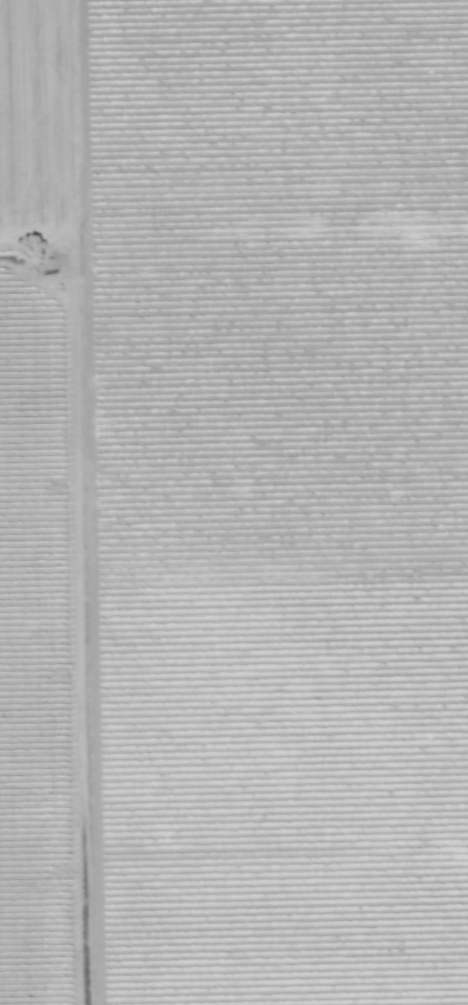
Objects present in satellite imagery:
road: (75, 502)

